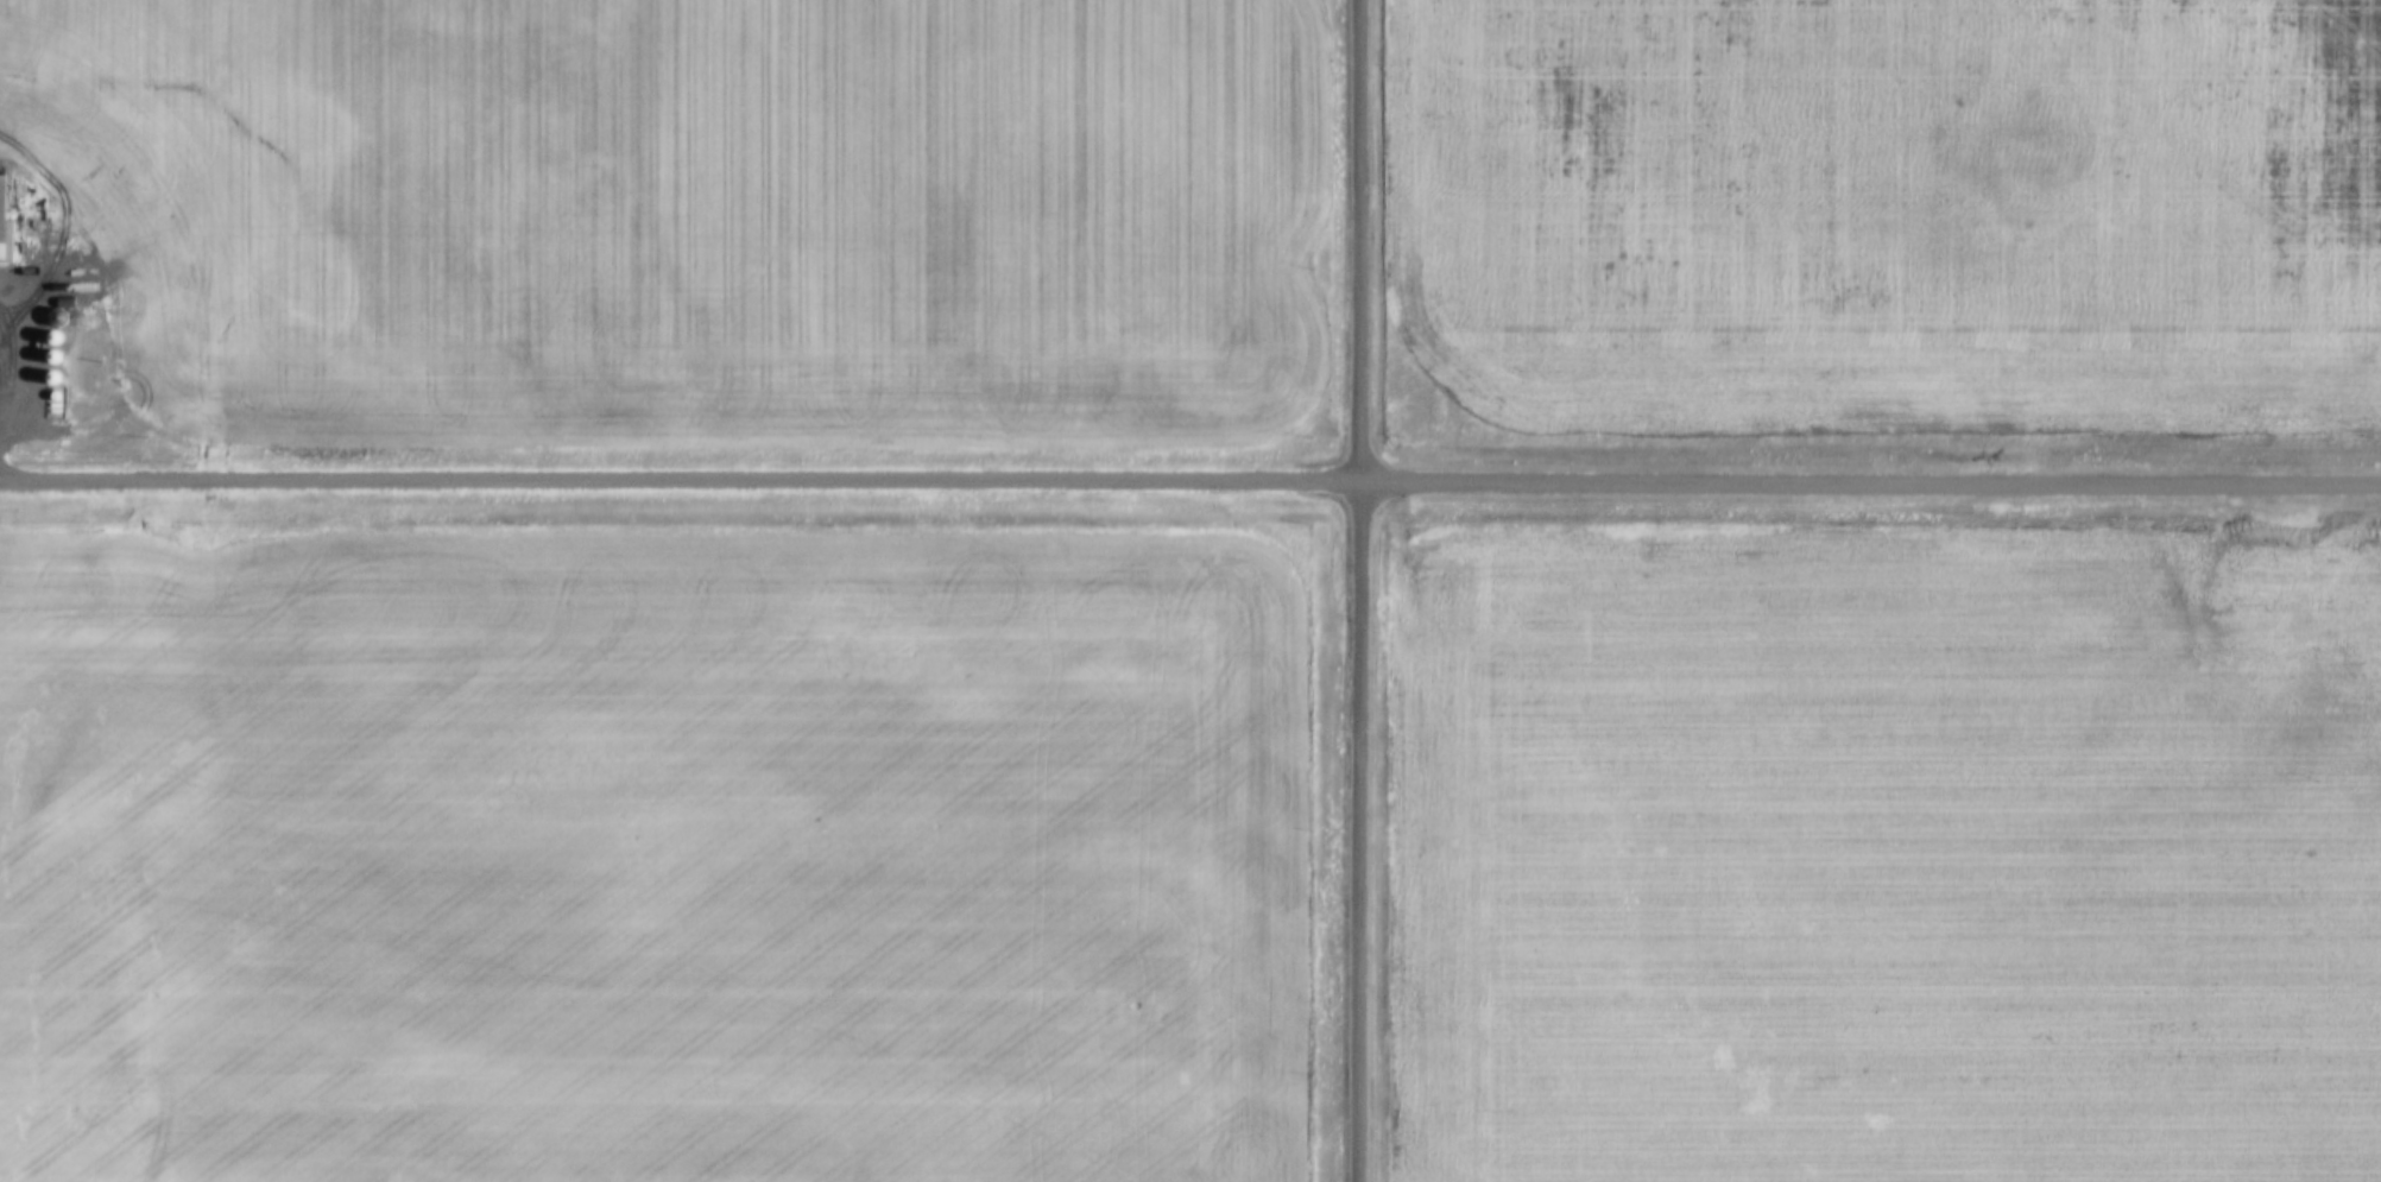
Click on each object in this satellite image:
building: (1, 222)
road: (1366, 244)
building: (51, 341)
building: (48, 381)
road: (1189, 491)
road: (1360, 834)

